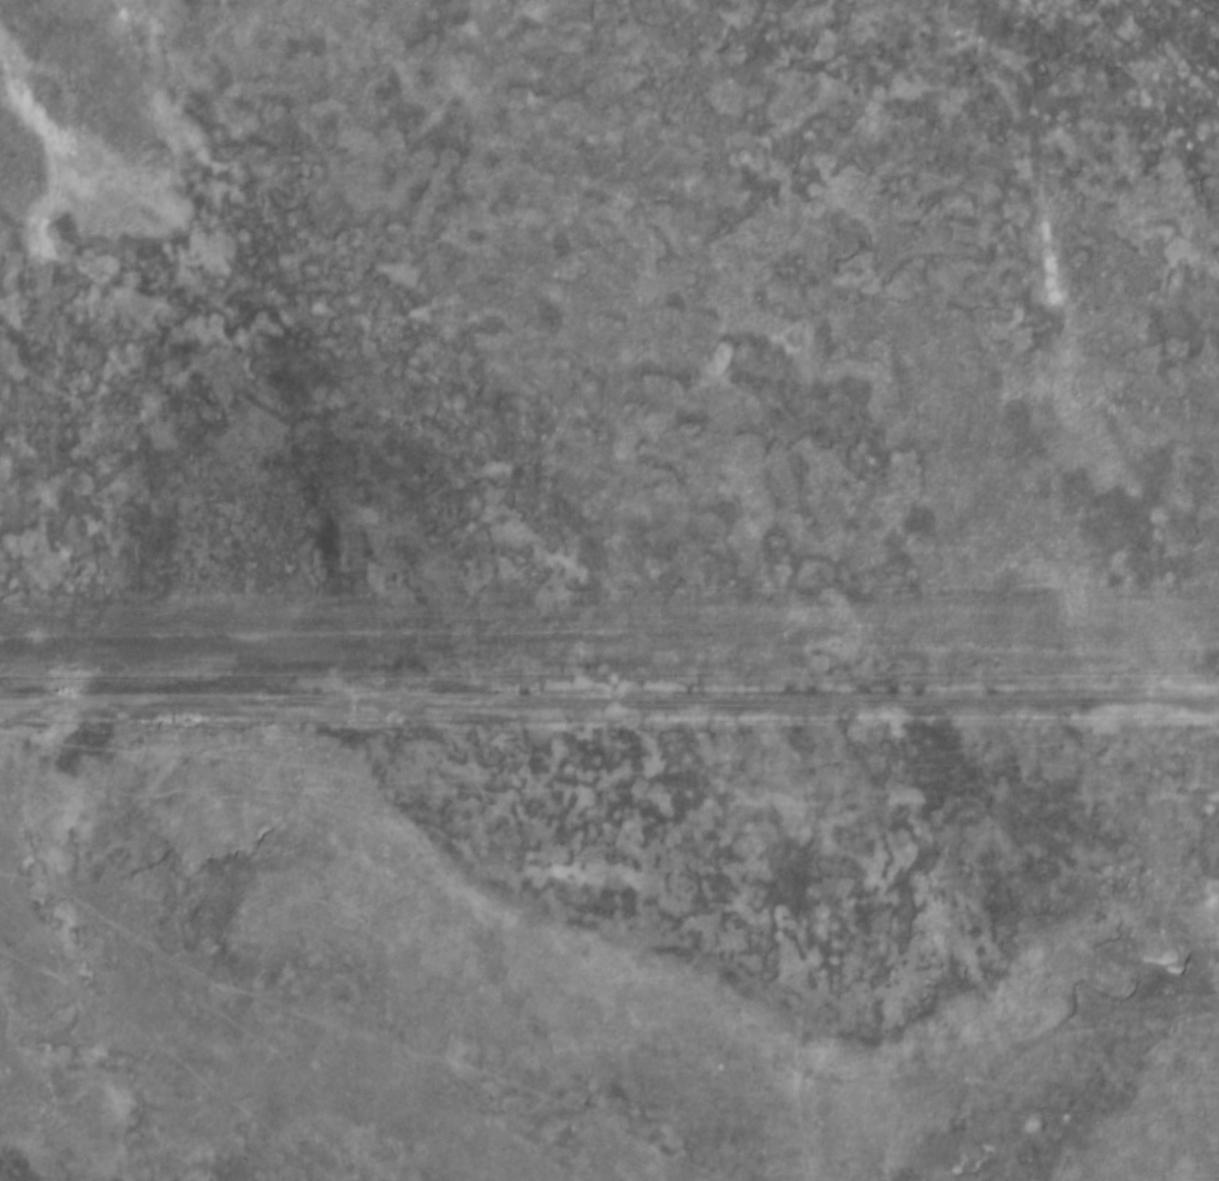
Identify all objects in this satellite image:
road: (609, 709)

